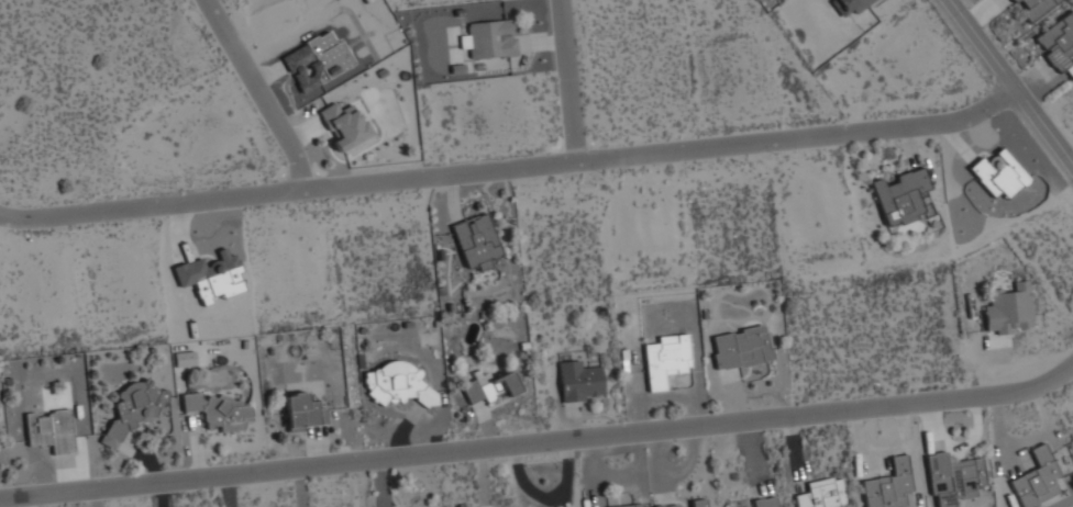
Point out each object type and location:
building: (1014, 1)
building: (848, 5)
building: (1036, 8)
building: (489, 37)
building: (1058, 42)
road: (568, 81)
road: (1010, 82)
road: (259, 93)
building: (343, 124)
road: (511, 169)
building: (998, 172)
building: (901, 195)
building: (477, 240)
building: (1009, 308)
building: (740, 346)
building: (666, 358)
building: (579, 380)
building: (398, 382)
building: (489, 385)
building: (133, 407)
building: (219, 409)
building: (303, 410)
building: (51, 428)
road: (540, 442)
building: (953, 477)
building: (1036, 478)
building: (888, 485)
building: (818, 494)
building: (698, 502)
building: (764, 502)
building: (628, 505)
building: (666, 505)

